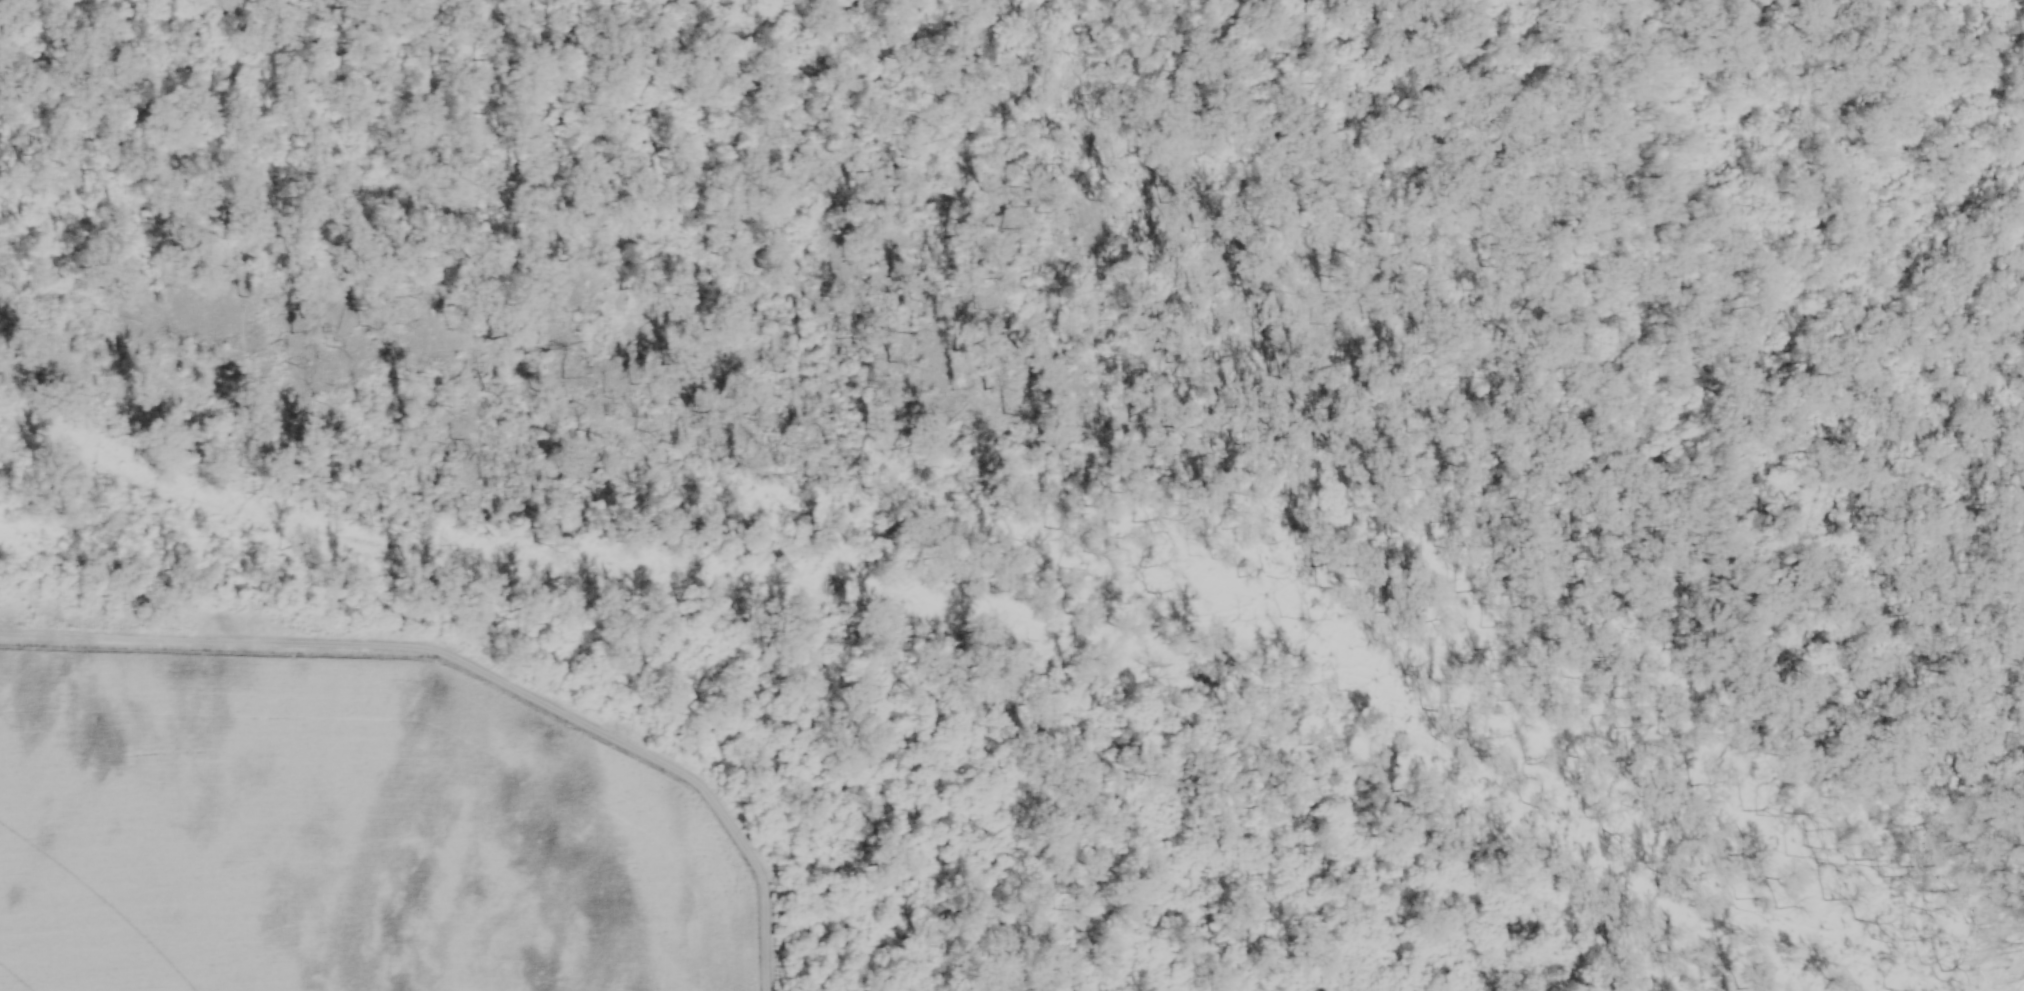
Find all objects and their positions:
road: (164, 637)
road: (621, 743)
crop: (337, 835)

